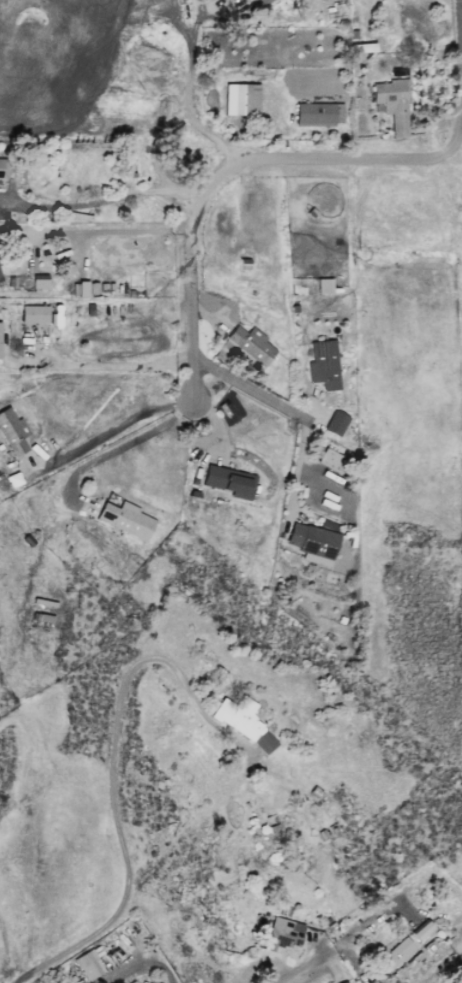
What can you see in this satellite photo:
building: (261, 2)
road: (461, 6)
road: (189, 90)
building: (240, 99)
building: (392, 104)
building: (317, 114)
road: (455, 140)
road: (329, 157)
building: (2, 168)
road: (104, 200)
road: (105, 232)
building: (0, 278)
road: (187, 280)
building: (39, 282)
building: (323, 286)
building: (81, 289)
building: (33, 314)
building: (250, 344)
building: (323, 365)
road: (113, 366)
road: (287, 408)
building: (335, 423)
road: (108, 429)
building: (12, 432)
road: (117, 447)
building: (331, 461)
building: (229, 481)
building: (124, 519)
building: (312, 543)
building: (241, 721)
road: (110, 776)
building: (421, 930)
building: (283, 935)
road: (334, 947)
building: (397, 954)
building: (89, 961)
building: (144, 981)
building: (132, 982)
building: (344, 982)

